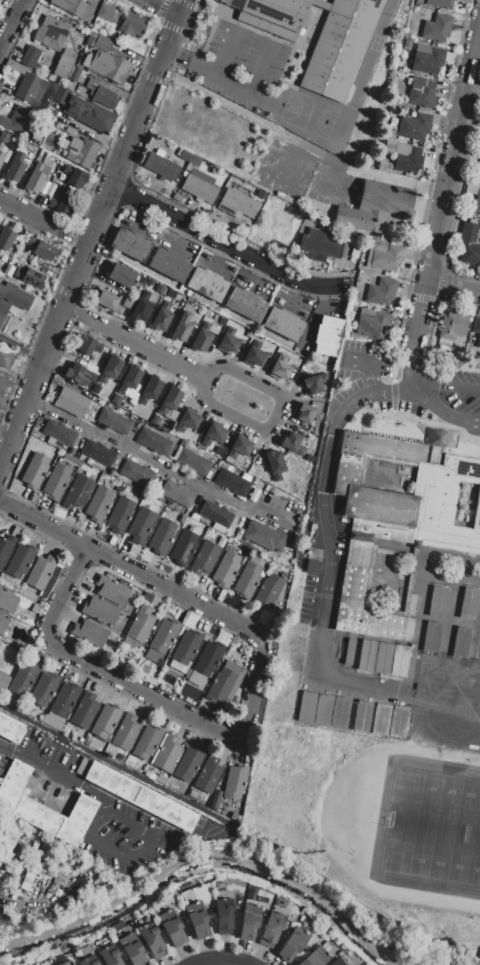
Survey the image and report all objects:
building: (440, 4)
building: (70, 6)
road: (164, 8)
building: (107, 13)
road: (12, 23)
building: (132, 24)
building: (437, 28)
building: (51, 33)
building: (317, 36)
road: (255, 41)
building: (407, 43)
building: (103, 44)
building: (30, 58)
road: (183, 60)
building: (428, 60)
building: (64, 63)
building: (15, 66)
building: (109, 68)
building: (75, 74)
road: (227, 83)
building: (52, 86)
building: (31, 89)
building: (100, 92)
building: (421, 93)
building: (86, 112)
road: (351, 117)
building: (17, 120)
building: (414, 127)
building: (70, 131)
building: (3, 139)
building: (389, 146)
building: (83, 152)
building: (184, 155)
building: (1, 157)
building: (407, 159)
building: (195, 160)
road: (455, 162)
building: (382, 166)
building: (14, 167)
building: (161, 167)
building: (75, 177)
building: (479, 177)
building: (34, 178)
building: (199, 185)
building: (470, 188)
building: (476, 203)
building: (237, 204)
building: (62, 206)
building: (372, 206)
road: (44, 223)
road: (94, 234)
building: (6, 238)
building: (319, 243)
building: (129, 244)
building: (468, 245)
road: (230, 247)
building: (42, 249)
building: (384, 255)
building: (169, 264)
building: (119, 274)
building: (30, 278)
building: (141, 280)
building: (207, 284)
road: (455, 287)
building: (160, 289)
building: (381, 292)
building: (12, 299)
building: (107, 302)
building: (127, 303)
building: (245, 304)
building: (141, 306)
building: (162, 318)
road: (422, 318)
building: (372, 323)
building: (283, 324)
building: (476, 325)
building: (453, 326)
building: (182, 327)
building: (327, 336)
building: (202, 339)
building: (228, 341)
building: (479, 342)
road: (137, 344)
building: (88, 346)
road: (13, 347)
building: (254, 355)
building: (4, 357)
road: (36, 359)
road: (369, 361)
building: (280, 368)
building: (109, 370)
building: (75, 375)
building: (130, 380)
building: (314, 384)
road: (421, 385)
parking lot: (411, 389)
building: (149, 391)
road: (452, 393)
building: (116, 400)
building: (70, 403)
building: (167, 405)
road: (392, 410)
building: (307, 414)
road: (275, 415)
road: (455, 419)
building: (187, 421)
building: (114, 422)
building: (58, 432)
building: (213, 435)
building: (153, 441)
building: (293, 444)
building: (240, 448)
building: (98, 453)
building: (309, 458)
road: (153, 460)
building: (193, 462)
building: (275, 464)
building: (35, 472)
building: (137, 473)
building: (58, 480)
building: (232, 482)
building: (77, 492)
building: (177, 495)
building: (99, 504)
building: (120, 513)
building: (216, 514)
building: (396, 523)
road: (315, 524)
road: (43, 525)
building: (141, 525)
building: (264, 536)
building: (162, 538)
building: (184, 548)
building: (5, 550)
building: (205, 558)
building: (19, 562)
building: (226, 570)
building: (40, 574)
building: (247, 581)
road: (64, 590)
building: (111, 590)
road: (173, 590)
building: (268, 591)
building: (7, 602)
building: (437, 602)
building: (467, 603)
building: (100, 611)
building: (3, 624)
building: (140, 626)
building: (89, 633)
building: (164, 635)
building: (431, 637)
building: (461, 643)
building: (186, 647)
building: (366, 656)
building: (382, 658)
building: (400, 661)
building: (206, 662)
building: (24, 676)
road: (255, 679)
building: (3, 681)
road: (345, 682)
building: (226, 683)
building: (44, 689)
road: (144, 691)
building: (64, 700)
building: (306, 707)
building: (322, 709)
building: (84, 710)
building: (361, 716)
building: (380, 719)
building: (53, 721)
building: (105, 721)
building: (397, 722)
building: (11, 730)
building: (126, 731)
building: (148, 742)
building: (167, 752)
building: (0, 757)
building: (189, 763)
road: (119, 767)
road: (54, 772)
building: (209, 775)
building: (162, 779)
building: (235, 782)
building: (140, 797)
building: (43, 808)
park: (429, 829)
road: (136, 852)
road: (203, 861)
building: (224, 917)
building: (198, 920)
building: (249, 922)
building: (172, 928)
building: (272, 929)
building: (151, 940)
building: (293, 945)
building: (132, 950)
building: (317, 955)
building: (110, 956)
road: (210, 960)
building: (89, 961)
road: (235, 962)
building: (337, 962)
building: (66, 963)

